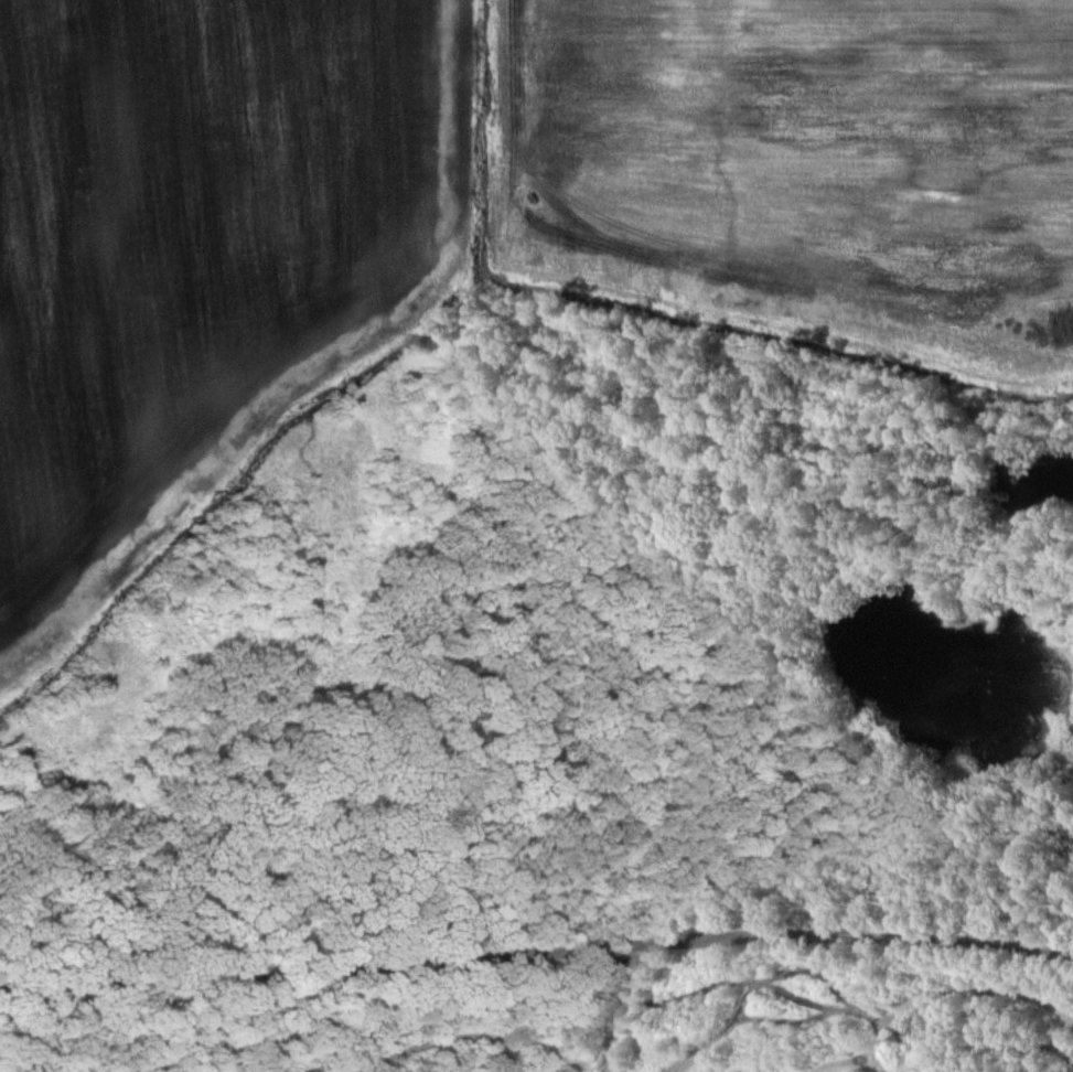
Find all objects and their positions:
road: (536, 950)

